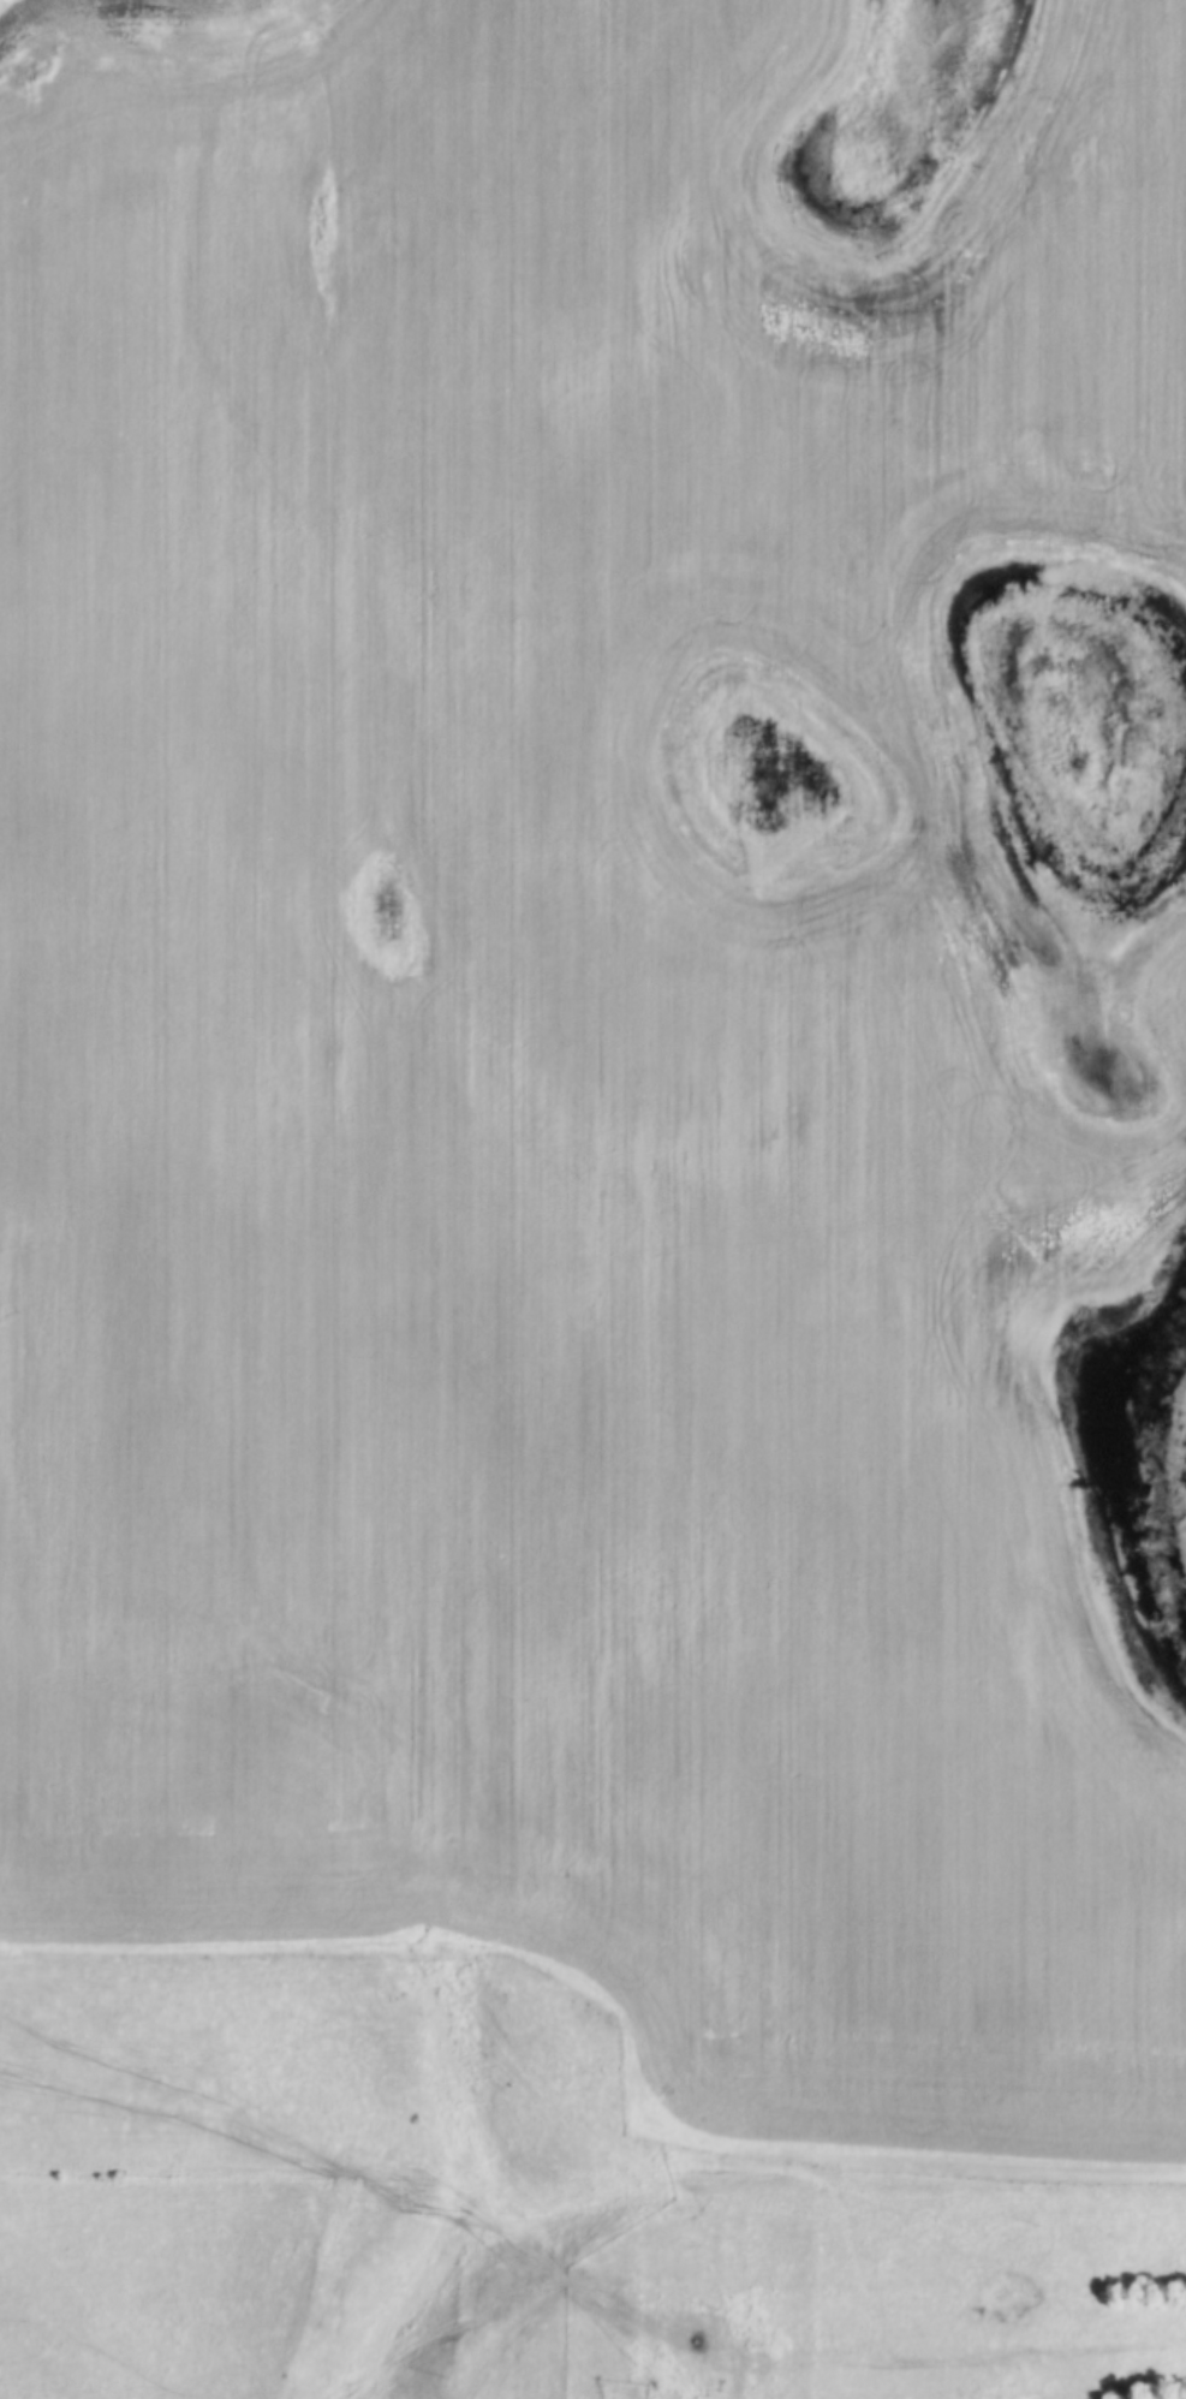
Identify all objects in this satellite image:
road: (905, 2168)

